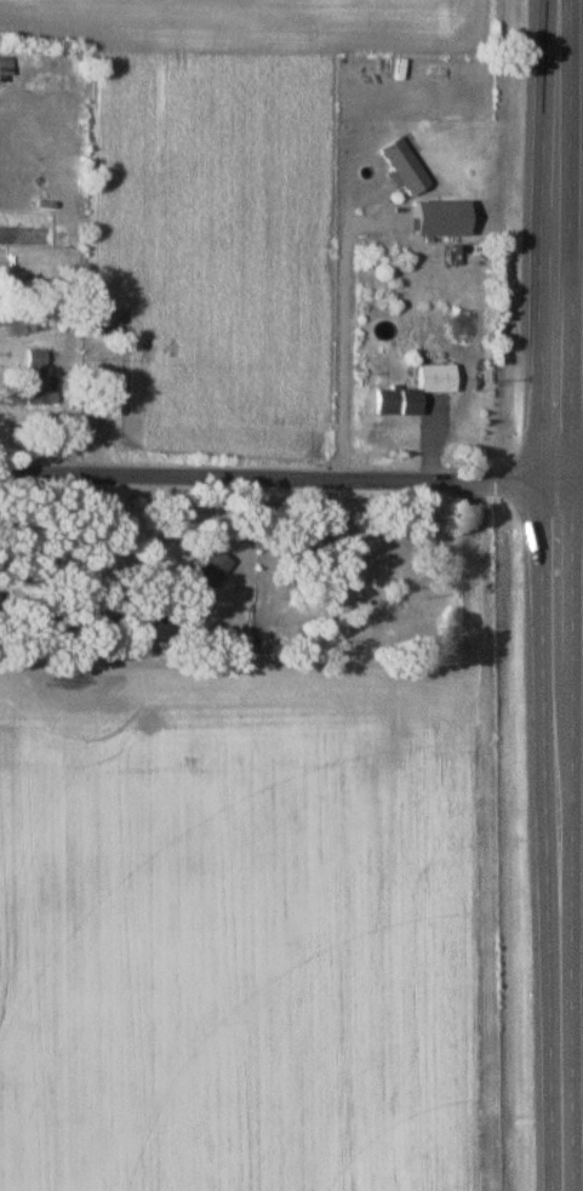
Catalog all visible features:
building: (405, 166)
building: (441, 218)
road: (558, 240)
road: (338, 334)
building: (41, 378)
road: (291, 477)
building: (207, 576)
building: (136, 626)
road: (559, 836)

